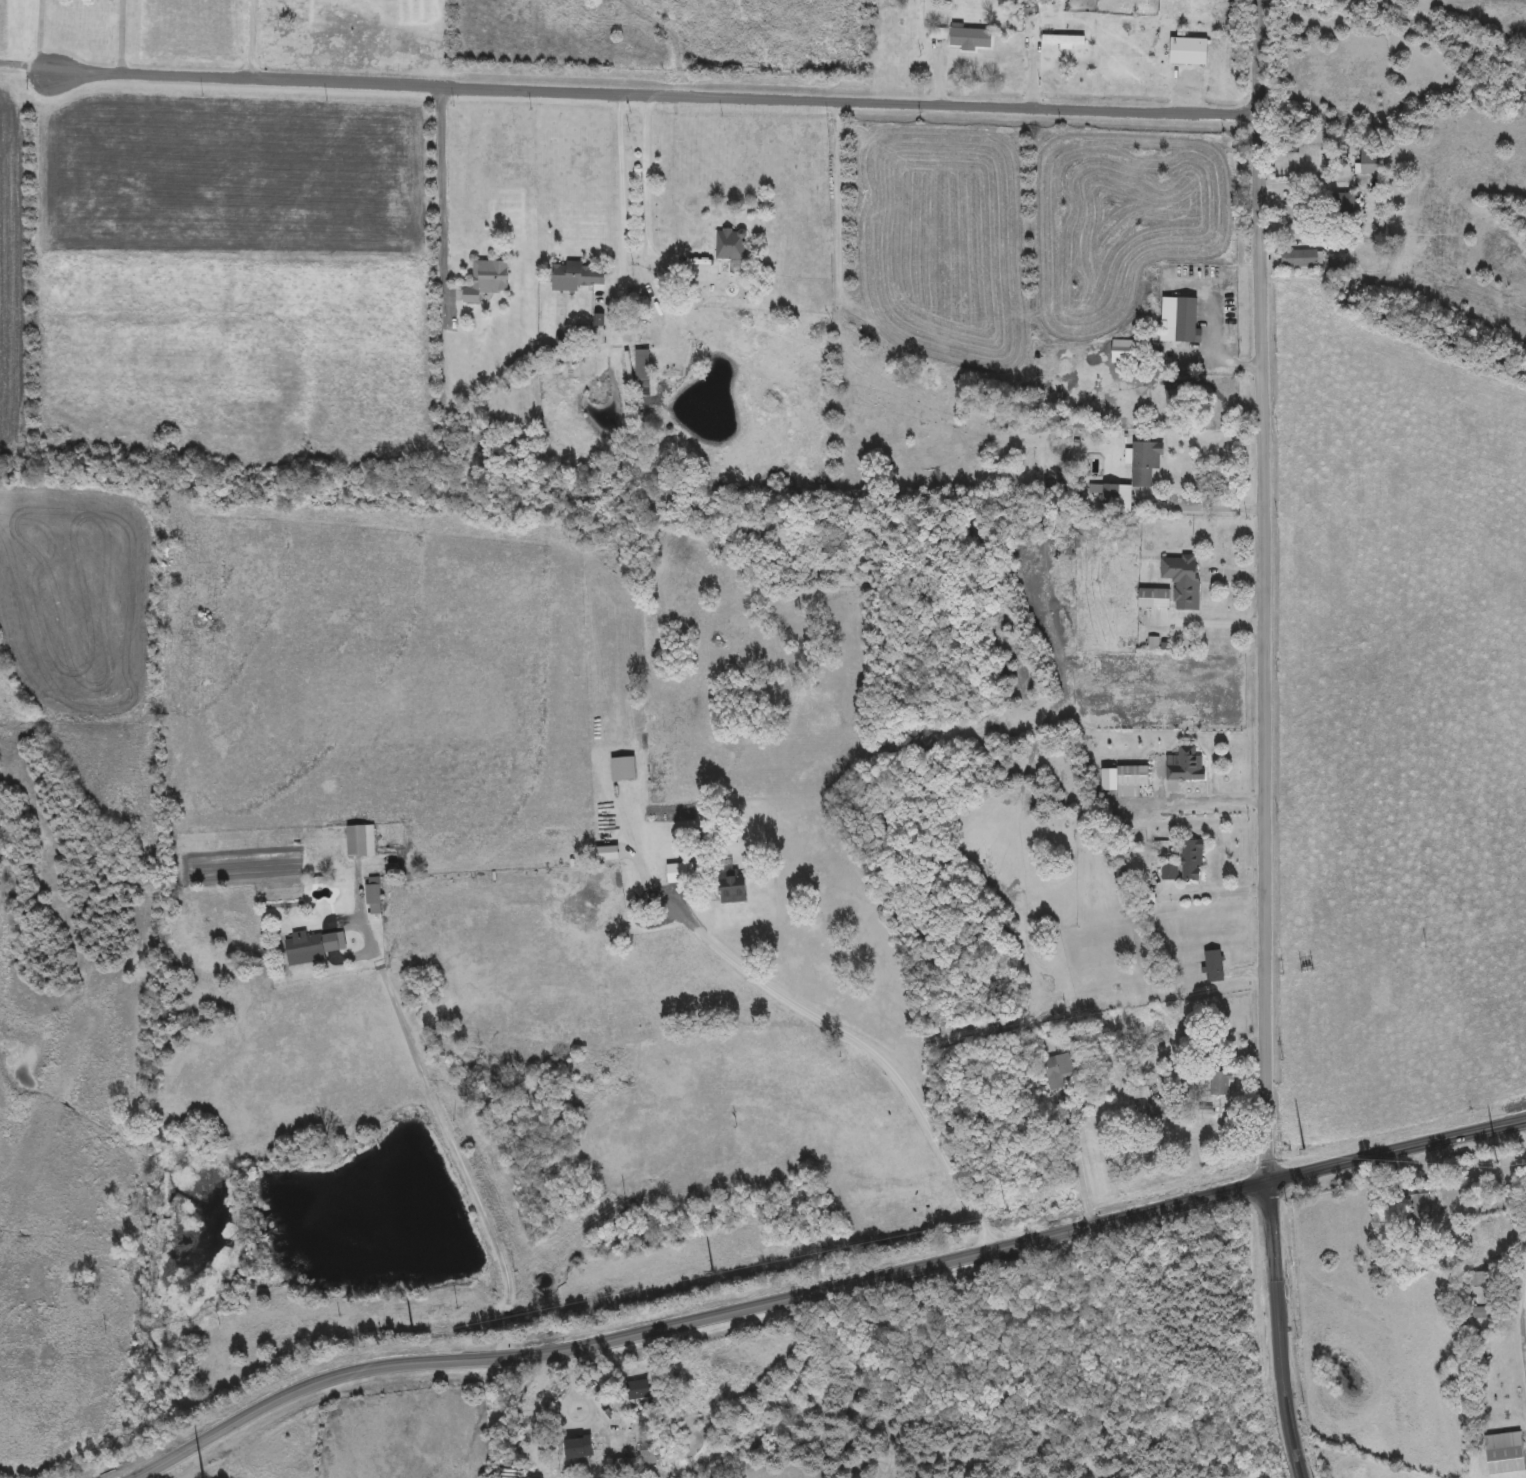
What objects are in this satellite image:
road: (39, 34)
road: (120, 35)
road: (252, 37)
building: (970, 39)
building: (1063, 40)
building: (1189, 52)
road: (629, 90)
building: (1370, 162)
road: (619, 178)
road: (443, 194)
road: (644, 196)
building: (1343, 204)
building: (730, 244)
building: (1299, 259)
building: (1341, 262)
building: (576, 276)
building: (486, 279)
building: (1186, 319)
road: (1216, 324)
building: (1124, 352)
building: (642, 373)
building: (1144, 463)
building: (1104, 494)
road: (1213, 510)
building: (1182, 580)
road: (1265, 591)
building: (1154, 599)
road: (1209, 625)
building: (1185, 766)
building: (623, 769)
road: (1212, 802)
building: (360, 841)
building: (1191, 860)
building: (1170, 873)
building: (679, 874)
building: (733, 887)
road: (1216, 893)
building: (373, 896)
building: (1002, 925)
building: (312, 947)
building: (1213, 962)
road: (867, 1051)
building: (1062, 1069)
building: (1220, 1084)
building: (1141, 1090)
road: (444, 1127)
road: (1210, 1132)
road: (1078, 1172)
building: (1419, 1203)
building: (1479, 1279)
road: (823, 1290)
road: (1522, 1309)
road: (1279, 1317)
road: (505, 1324)
road: (502, 1348)
road: (572, 1372)
building: (638, 1390)
road: (564, 1414)
building: (579, 1448)
building: (651, 1452)
building: (1505, 1454)
road: (1298, 1465)

